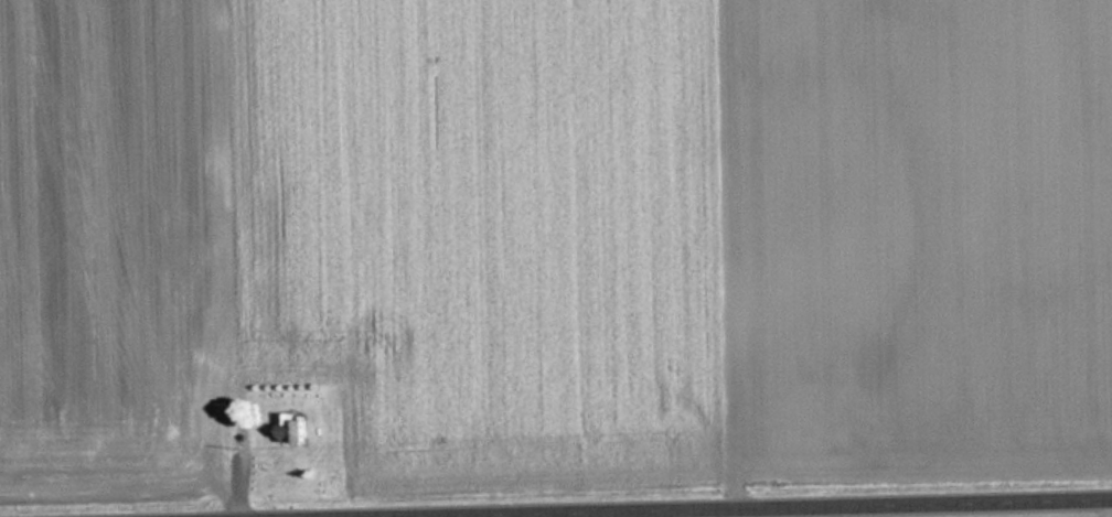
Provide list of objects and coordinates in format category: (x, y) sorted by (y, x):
building: (217, 249)
building: (181, 295)
building: (292, 428)
road: (796, 510)

